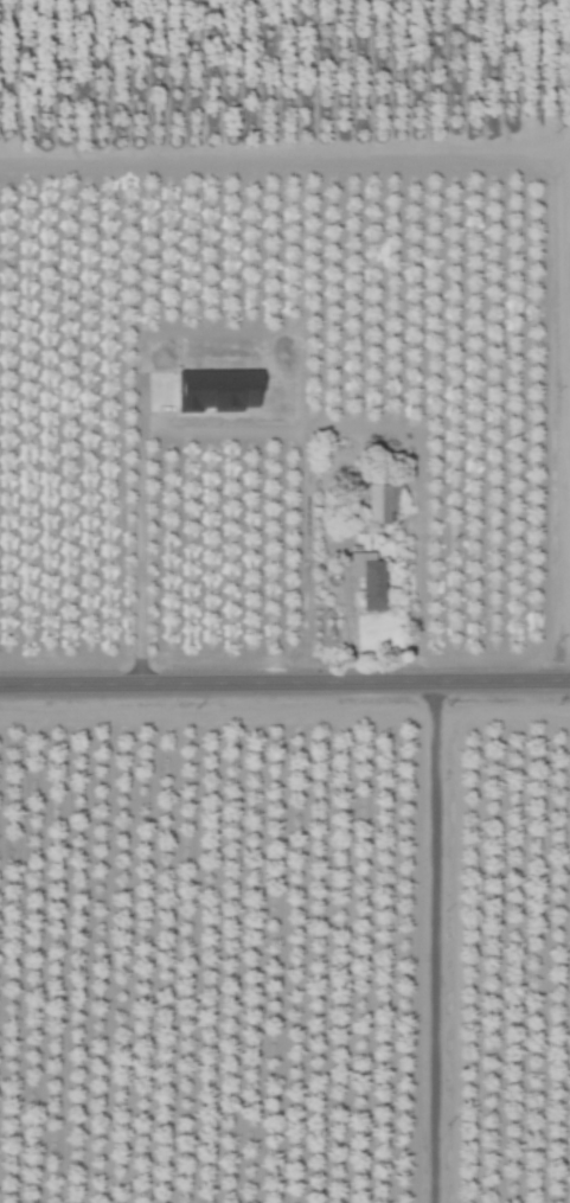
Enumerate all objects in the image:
road: (284, 152)
building: (380, 505)
road: (136, 550)
building: (371, 580)
road: (347, 614)
road: (284, 683)
road: (436, 942)

